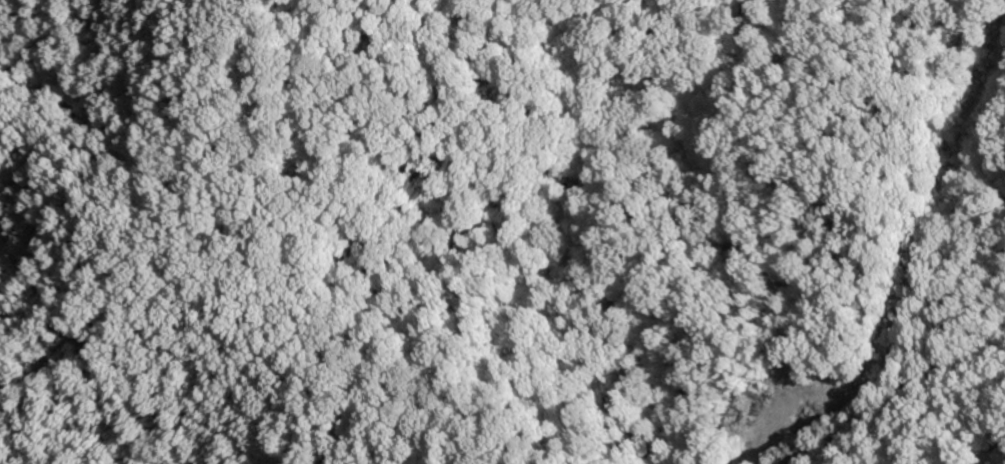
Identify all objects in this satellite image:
road: (256, 266)
road: (919, 414)

